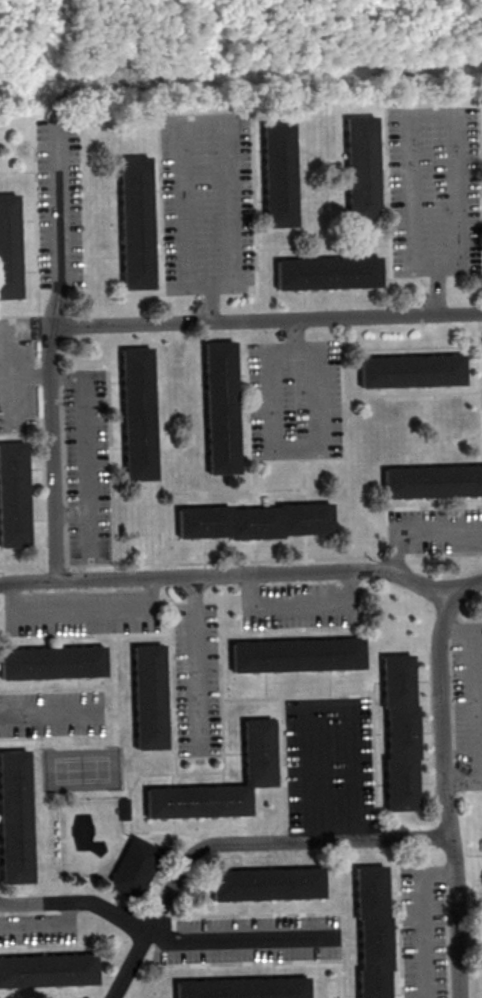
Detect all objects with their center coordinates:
road: (454, 117)
road: (222, 127)
building: (360, 169)
building: (278, 175)
parking lot: (435, 191)
parking lot: (207, 203)
parking lot: (58, 204)
building: (135, 222)
road: (59, 232)
building: (9, 248)
building: (327, 273)
road: (139, 325)
building: (410, 371)
parking lot: (16, 375)
parking lot: (294, 399)
building: (221, 409)
building: (138, 417)
road: (86, 445)
road: (313, 447)
parking lot: (86, 467)
building: (432, 482)
building: (13, 499)
building: (255, 524)
road: (418, 532)
road: (243, 575)
parking lot: (300, 605)
road: (300, 609)
parking lot: (81, 613)
road: (85, 615)
building: (296, 655)
building: (51, 662)
road: (195, 662)
parking lot: (196, 680)
building: (148, 697)
parking lot: (468, 697)
road: (328, 707)
road: (476, 709)
parking lot: (51, 713)
road: (46, 714)
building: (399, 728)
building: (257, 752)
parking lot: (329, 764)
park: (80, 770)
road: (443, 794)
building: (14, 818)
road: (237, 845)
building: (133, 868)
building: (266, 884)
road: (76, 903)
road: (45, 926)
parking lot: (37, 929)
parking lot: (422, 932)
building: (370, 933)
parking lot: (250, 939)
road: (238, 940)
road: (426, 940)
building: (48, 970)
building: (242, 988)

